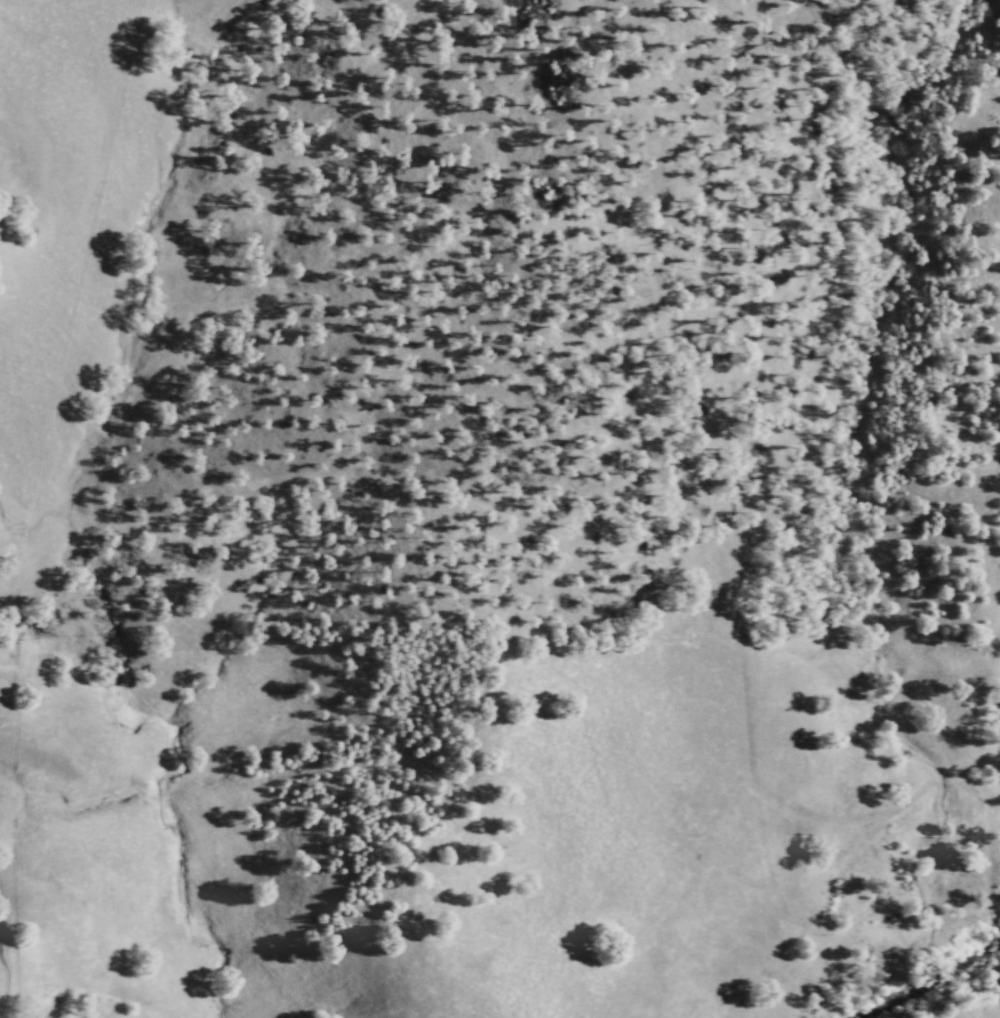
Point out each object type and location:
road: (16, 530)

